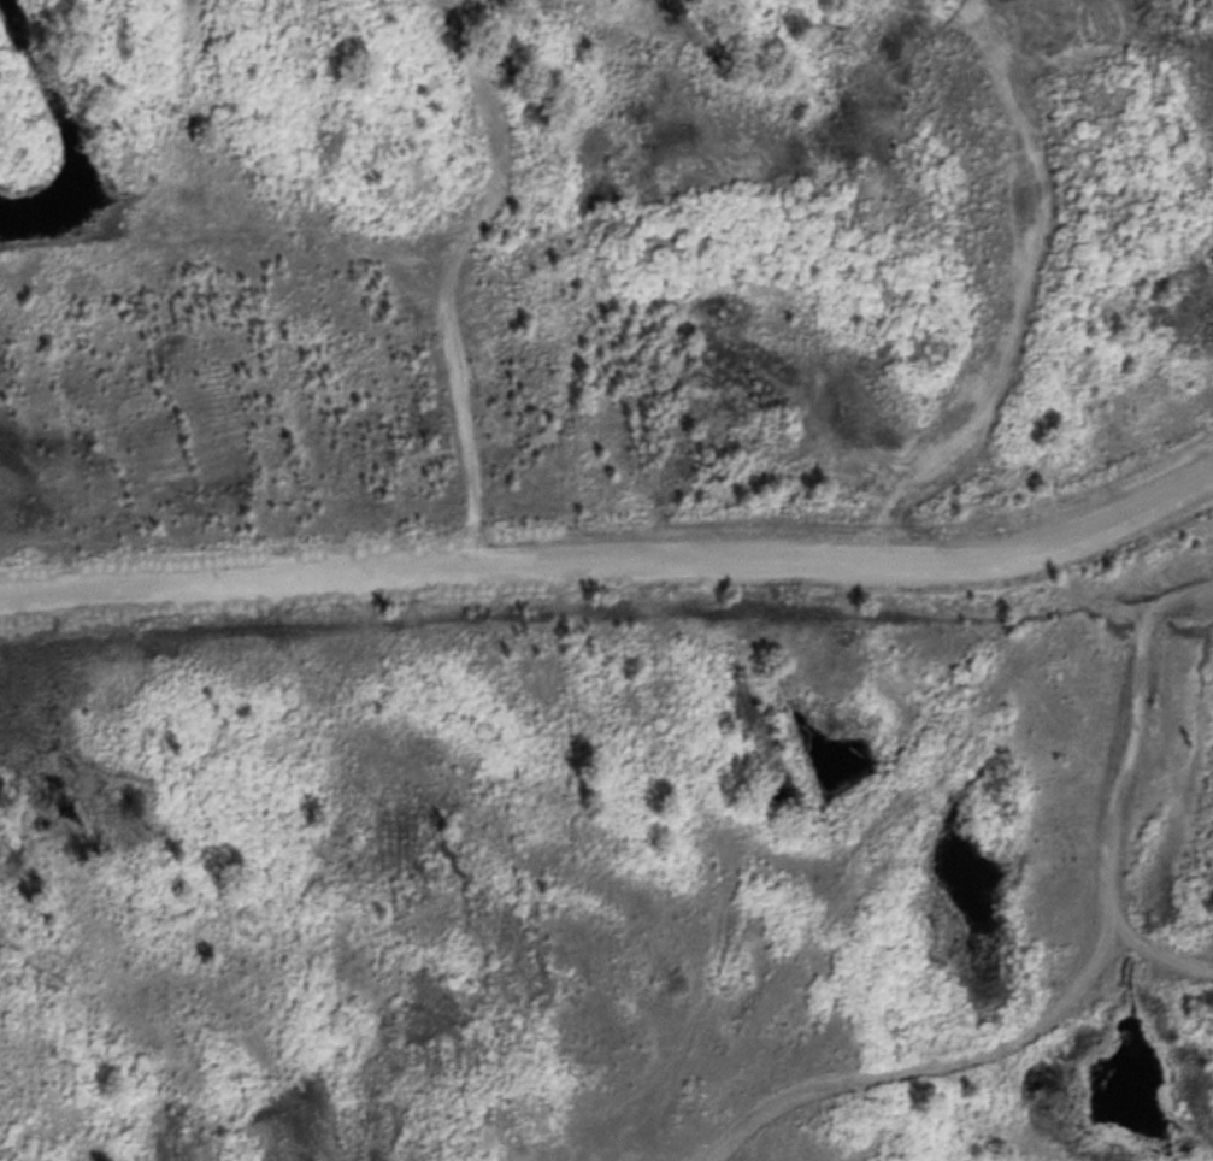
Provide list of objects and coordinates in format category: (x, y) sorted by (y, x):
road: (1074, 252)
road: (612, 562)
road: (1171, 613)
road: (1126, 821)
road: (999, 1036)

